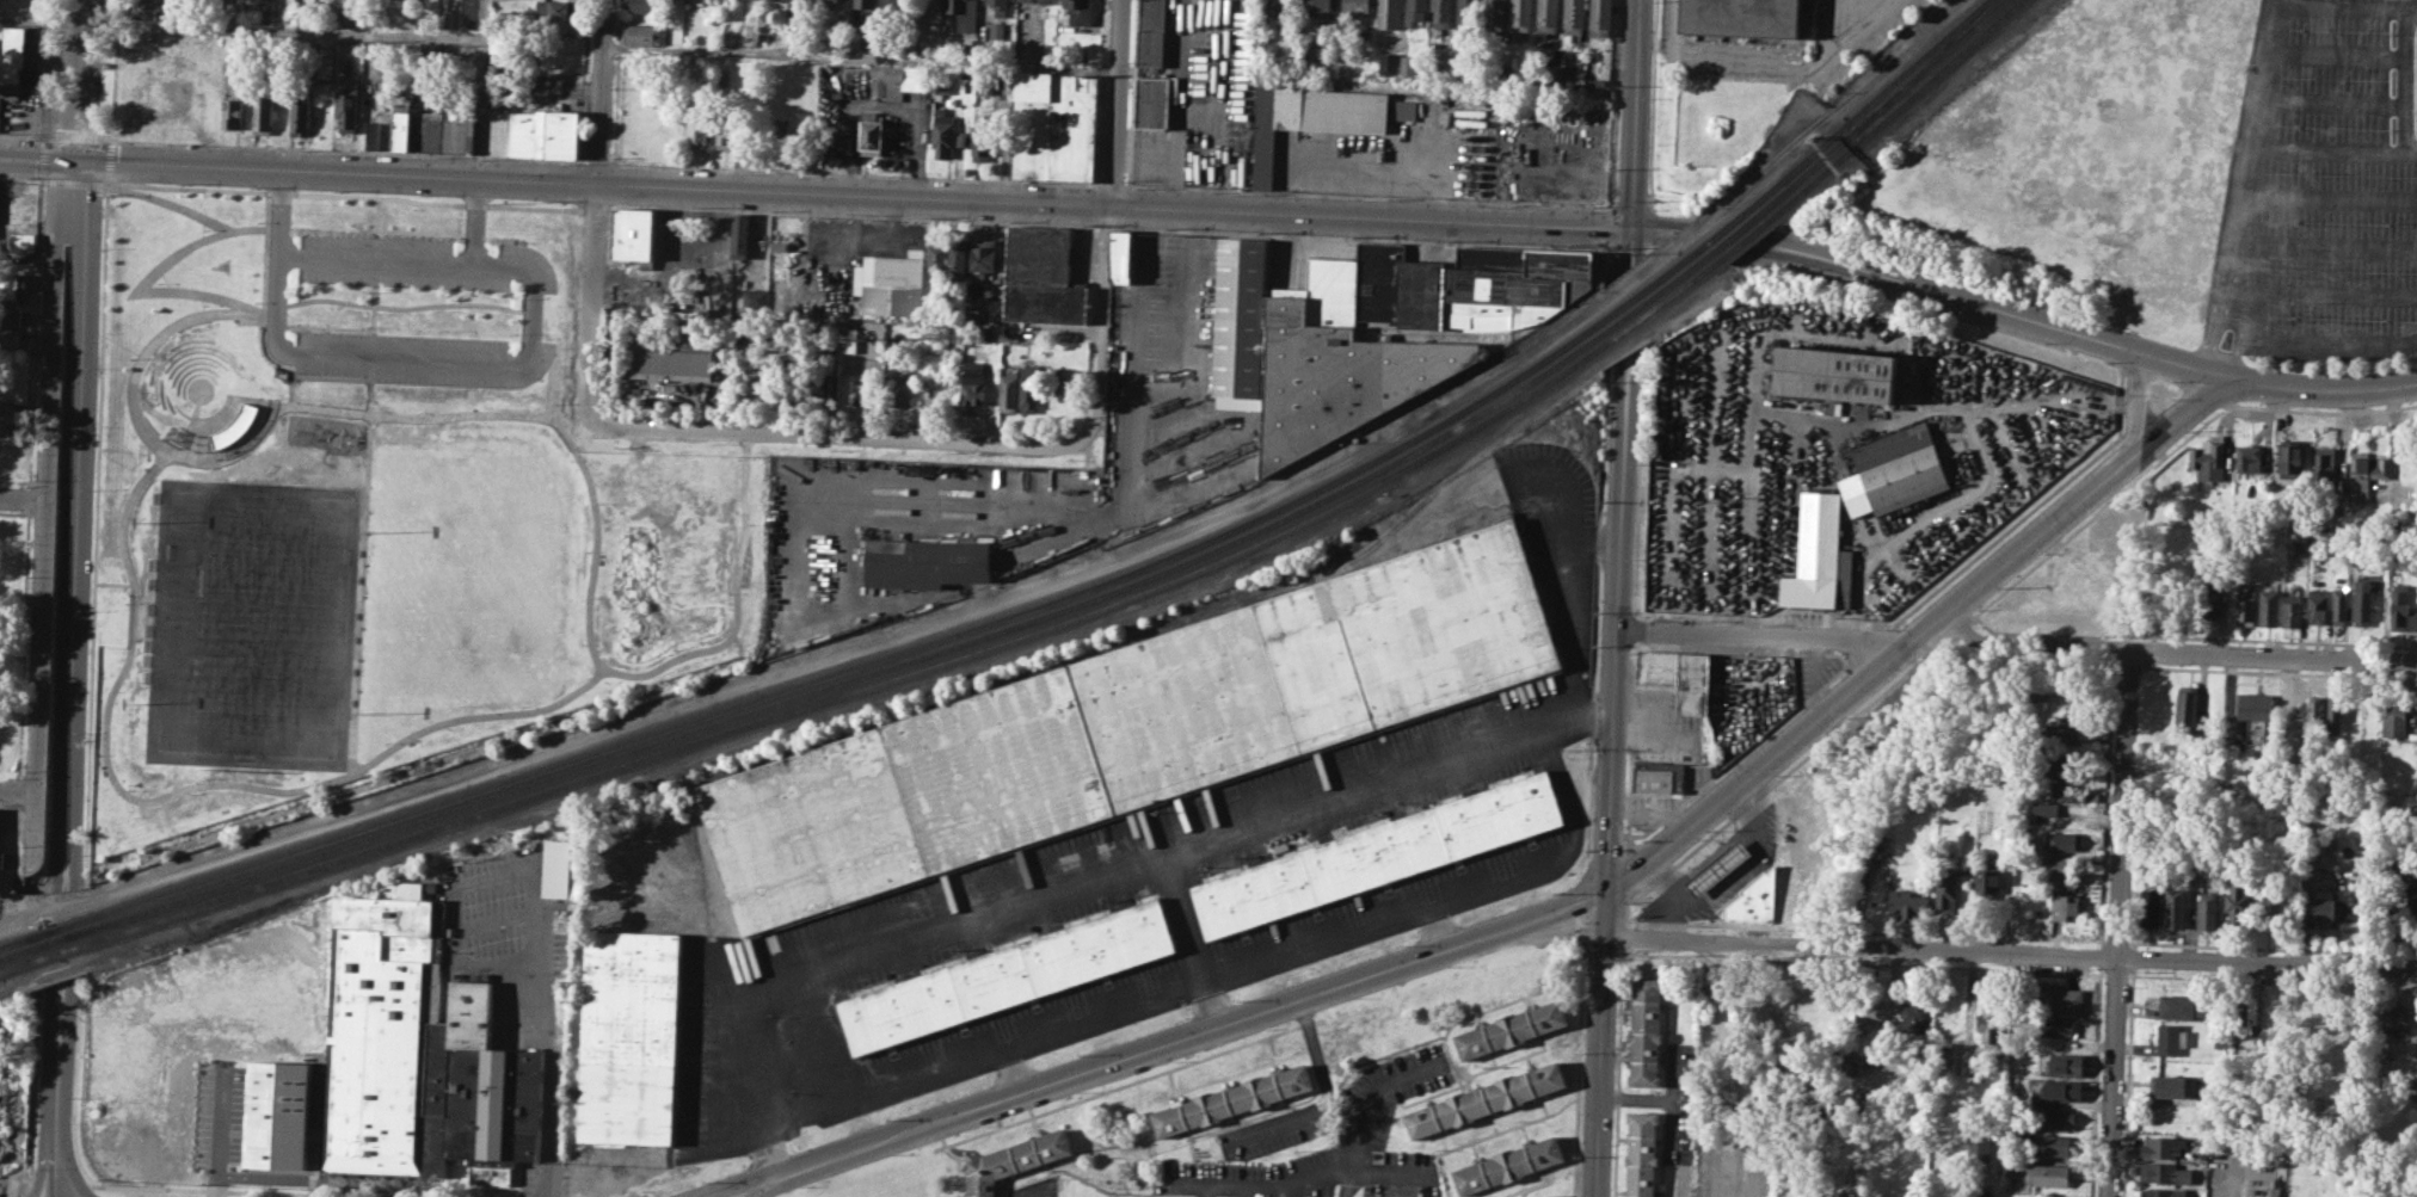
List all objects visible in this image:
building: (771, 0)
building: (795, 0)
building: (829, 0)
building: (1027, 0)
building: (859, 1)
building: (1046, 1)
building: (884, 2)
building: (640, 5)
road: (2347, 5)
building: (959, 6)
building: (1274, 6)
building: (1316, 6)
building: (1355, 6)
building: (555, 7)
building: (998, 7)
building: (144, 8)
building: (787, 8)
building: (1078, 11)
building: (345, 12)
building: (1416, 12)
building: (1440, 13)
building: (1494, 13)
building: (1389, 14)
building: (1466, 14)
building: (1520, 16)
building: (424, 17)
building: (444, 17)
building: (1548, 17)
building: (1575, 18)
building: (1600, 18)
building: (1747, 18)
road: (481, 19)
road: (42, 23)
road: (1844, 23)
building: (997, 29)
building: (642, 32)
building: (1151, 32)
road: (352, 35)
building: (438, 55)
road: (2337, 56)
road: (860, 57)
building: (11, 58)
building: (325, 60)
building: (1389, 63)
building: (1408, 64)
railway: (1925, 64)
railway: (1930, 64)
road: (1769, 66)
road: (45, 68)
road: (113, 74)
building: (1560, 74)
road: (1179, 75)
road: (2263, 75)
building: (894, 76)
road: (82, 80)
road: (583, 81)
road: (616, 81)
road: (2409, 81)
building: (984, 82)
road: (602, 91)
road: (1131, 93)
road: (1115, 100)
building: (1152, 101)
building: (348, 104)
road: (2335, 104)
road: (1652, 105)
building: (262, 107)
building: (300, 111)
building: (230, 112)
road: (1637, 115)
building: (1317, 117)
building: (400, 124)
building: (1053, 125)
building: (425, 130)
building: (697, 130)
building: (722, 130)
building: (457, 131)
building: (562, 131)
building: (872, 131)
building: (527, 132)
road: (21, 134)
road: (45, 135)
road: (75, 135)
building: (942, 135)
building: (779, 136)
building: (960, 137)
building: (983, 137)
road: (345, 149)
road: (1144, 149)
road: (2261, 152)
road: (42, 156)
road: (39, 159)
road: (109, 160)
road: (595, 161)
road: (853, 173)
road: (20, 175)
road: (1173, 178)
road: (578, 180)
road: (43, 181)
road: (110, 181)
road: (74, 183)
road: (1111, 185)
parking lot: (2321, 187)
road: (855, 192)
road: (2329, 198)
road: (1470, 202)
road: (578, 204)
road: (1610, 208)
road: (1630, 209)
road: (269, 210)
road: (1649, 210)
road: (1650, 227)
traffic signals: (1632, 229)
road: (1653, 232)
building: (634, 234)
building: (739, 234)
building: (24, 241)
building: (779, 246)
road: (1632, 248)
road: (2323, 248)
road: (1647, 249)
building: (1120, 254)
building: (937, 255)
building: (982, 257)
road: (376, 259)
building: (958, 260)
parking lot: (422, 261)
building: (1044, 277)
building: (13, 286)
building: (887, 290)
building: (755, 297)
road: (2318, 297)
road: (104, 300)
road: (592, 300)
road: (1101, 300)
road: (264, 302)
road: (396, 307)
road: (374, 310)
road: (1993, 310)
building: (10, 316)
building: (1238, 316)
road: (35, 332)
road: (2210, 333)
building: (13, 338)
road: (2329, 350)
building: (664, 354)
parking lot: (420, 357)
road: (426, 358)
road: (2235, 360)
building: (1835, 374)
building: (1058, 378)
building: (1354, 378)
building: (757, 383)
building: (831, 387)
building: (899, 387)
building: (1009, 389)
building: (1029, 391)
building: (973, 393)
road: (2323, 395)
building: (857, 396)
road: (2140, 403)
road: (1948, 405)
road: (314, 407)
building: (12, 412)
road: (497, 413)
road: (214, 417)
road: (2185, 417)
road: (189, 421)
road: (857, 437)
road: (235, 451)
building: (2247, 457)
building: (2208, 459)
building: (2290, 462)
building: (2325, 467)
building: (2382, 467)
building: (1895, 470)
building: (2360, 476)
road: (1638, 479)
road: (24, 495)
road: (29, 498)
park: (371, 507)
road: (47, 510)
road: (72, 526)
building: (2295, 549)
building: (1814, 553)
building: (924, 561)
road: (113, 582)
road: (1575, 587)
road: (361, 592)
building: (2207, 594)
railway: (1058, 599)
building: (2245, 603)
building: (2362, 603)
building: (2339, 605)
building: (2317, 606)
building: (2268, 607)
building: (2400, 609)
building: (2290, 611)
railway: (1077, 613)
park: (252, 623)
road: (1616, 623)
road: (1635, 628)
railway: (976, 638)
road: (1871, 640)
road: (24, 643)
road: (2273, 655)
building: (1643, 666)
building: (1662, 666)
road: (1872, 672)
road: (642, 673)
building: (1692, 681)
road: (1821, 685)
building: (2068, 691)
building: (2185, 705)
building: (2353, 707)
building: (2332, 709)
building: (2314, 710)
building: (2255, 714)
building: (2392, 717)
building: (1128, 727)
building: (2064, 727)
road: (1630, 740)
road: (109, 759)
building: (2058, 764)
building: (1658, 776)
road: (18, 789)
building: (2065, 790)
road: (20, 794)
road: (2124, 803)
building: (2043, 808)
building: (2062, 840)
road: (17, 843)
road: (1557, 846)
road: (1611, 849)
building: (1870, 852)
building: (1379, 854)
building: (2061, 865)
building: (1717, 866)
gas station: (1717, 866)
building: (554, 868)
road: (523, 869)
road: (1072, 877)
building: (1986, 881)
building: (2412, 884)
building: (1948, 889)
traffic signals: (1606, 890)
building: (2235, 899)
building: (2065, 900)
building: (1746, 901)
gas station: (1746, 901)
building: (1907, 902)
building: (2269, 906)
building: (2150, 907)
building: (2175, 907)
road: (1625, 909)
building: (2204, 911)
building: (2321, 912)
road: (1586, 921)
road: (497, 923)
road: (1557, 933)
road: (1585, 936)
road: (1624, 936)
road: (1188, 938)
road: (1862, 946)
road: (2268, 963)
building: (1011, 976)
road: (1123, 997)
building: (2061, 999)
building: (2176, 1006)
building: (295, 1007)
building: (183, 1008)
building: (1869, 1011)
building: (2245, 1012)
building: (2394, 1016)
building: (1914, 1017)
building: (1991, 1022)
building: (2059, 1026)
building: (112, 1030)
building: (1647, 1030)
building: (1515, 1032)
road: (1193, 1035)
building: (2170, 1038)
building: (631, 1039)
road: (1600, 1043)
building: (416, 1057)
building: (2062, 1063)
road: (1008, 1067)
road: (1579, 1072)
road: (1617, 1073)
road: (552, 1076)
road: (2114, 1078)
building: (2167, 1085)
road: (57, 1090)
building: (2060, 1090)
road: (33, 1094)
road: (1323, 1099)
building: (1488, 1103)
building: (1235, 1104)
road: (1365, 1109)
building: (278, 1115)
building: (2056, 1117)
road: (1487, 1135)
road: (230, 1142)
building: (2216, 1142)
building: (2050, 1144)
building: (2160, 1146)
building: (1978, 1147)
building: (1641, 1154)
building: (1019, 1161)
building: (1511, 1167)
building: (2164, 1172)
building: (2048, 1174)
road: (1539, 1183)
road: (727, 1185)
road: (1274, 1185)
road: (128, 1186)
road: (768, 1187)
building: (2273, 1191)
building: (2163, 1192)
building: (1949, 1193)
road: (706, 1195)
building: (1552, 1196)

